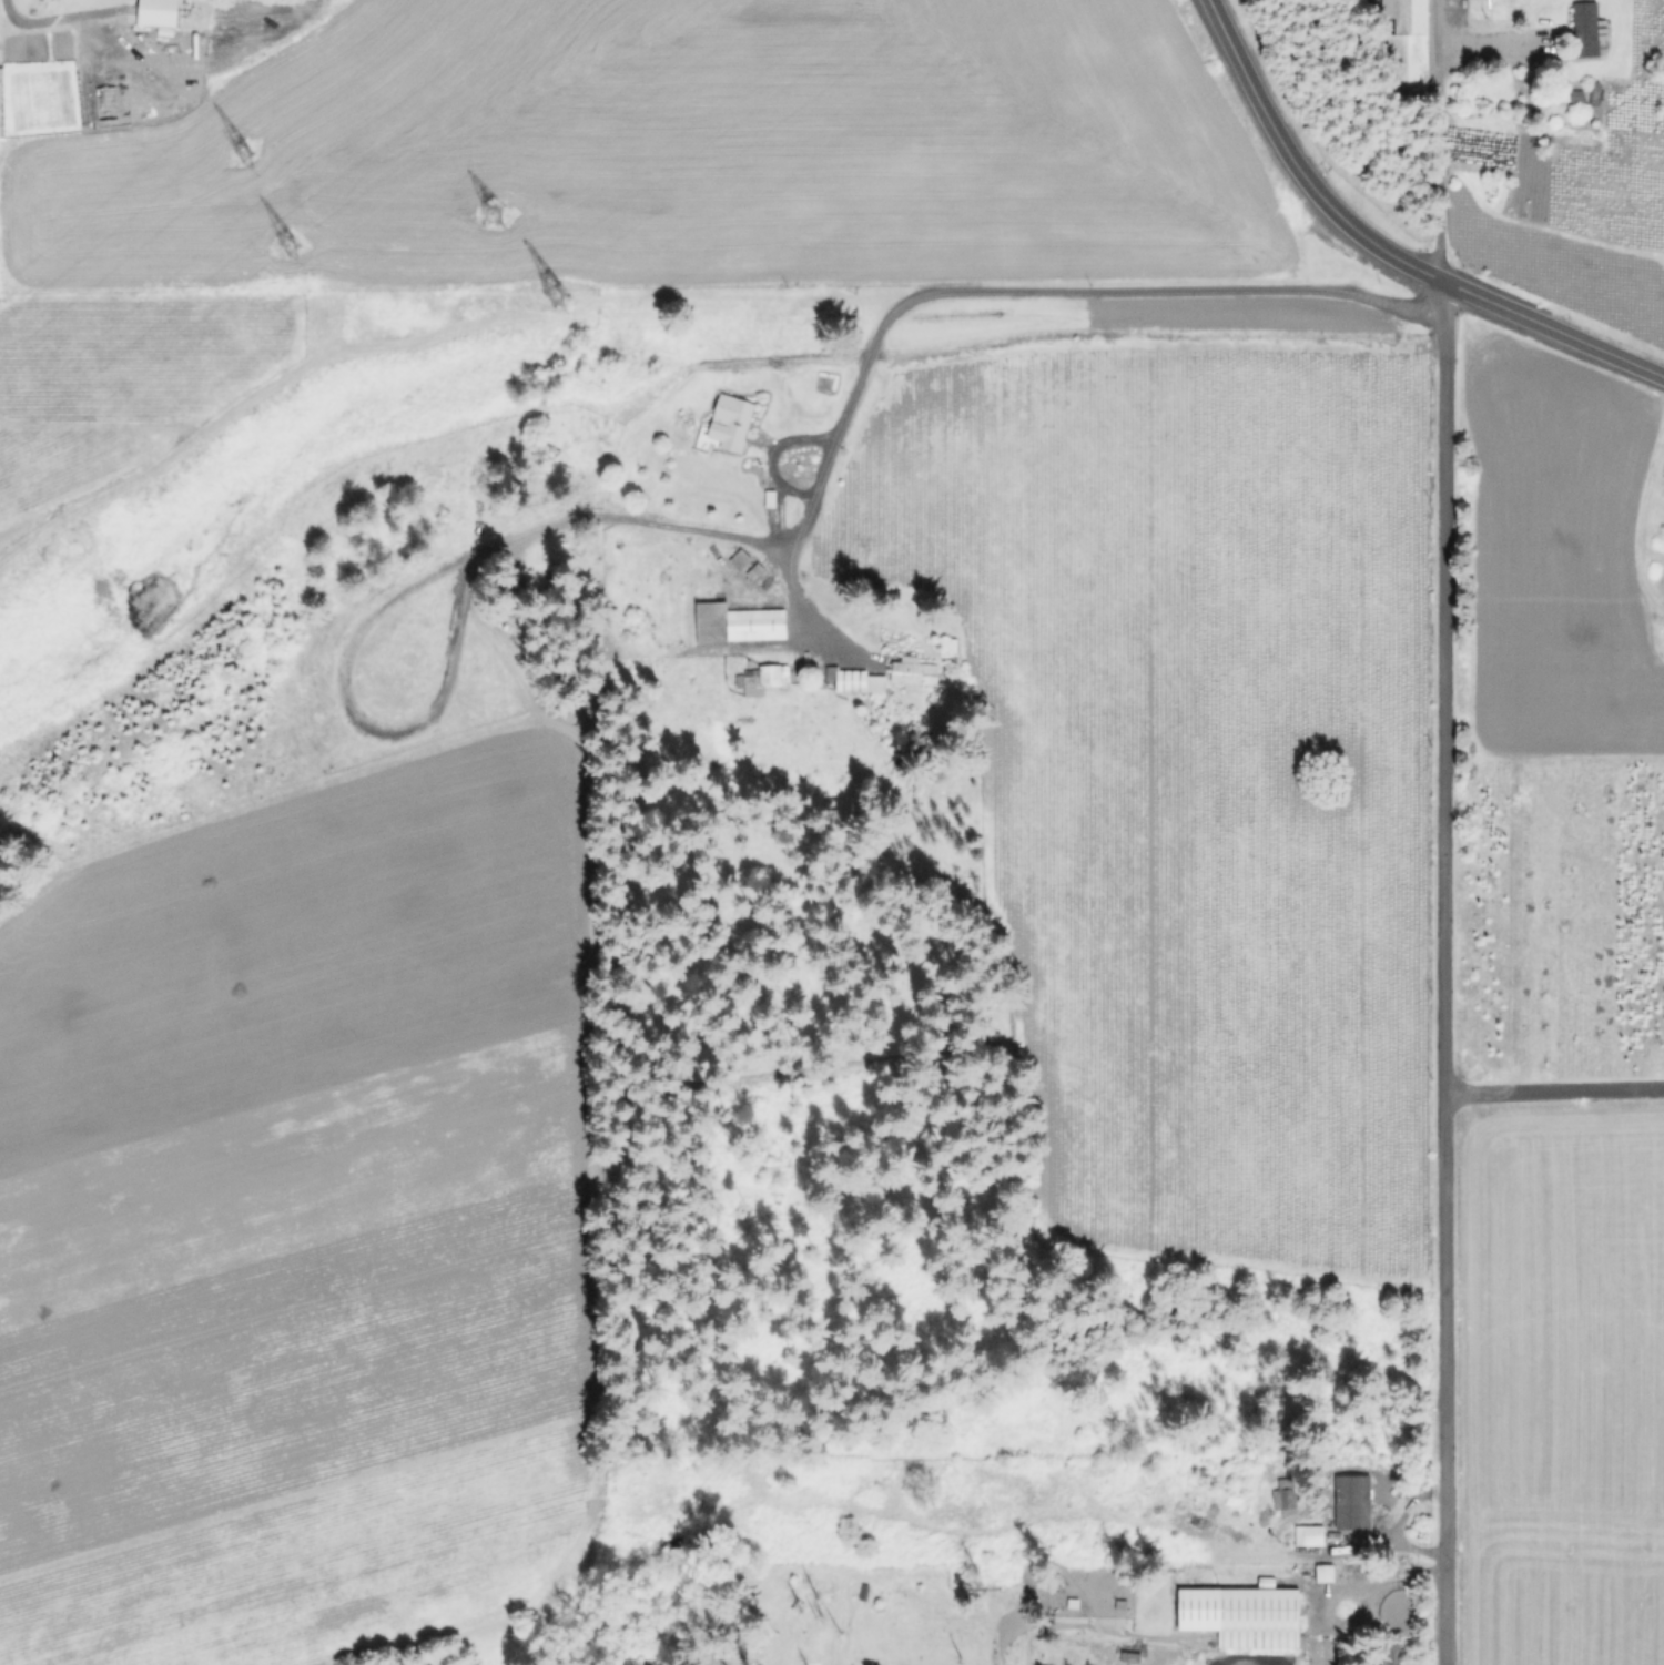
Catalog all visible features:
building: (1489, 6)
building: (156, 10)
road: (12, 16)
building: (1586, 24)
road: (1493, 34)
building: (1408, 42)
road: (1433, 136)
power tower: (235, 148)
power tower: (484, 214)
power tower: (282, 244)
road: (1383, 247)
road: (1099, 290)
power tower: (548, 295)
building: (731, 422)
road: (771, 455)
building: (774, 498)
road: (785, 540)
building: (740, 558)
building: (755, 570)
building: (739, 623)
building: (951, 646)
building: (914, 671)
building: (758, 679)
building: (855, 680)
road: (1441, 973)
road: (1552, 1093)
crop: (293, 1149)
crop: (1552, 1389)
building: (1287, 1494)
building: (1357, 1505)
building: (1310, 1535)
building: (1328, 1572)
road: (1386, 1581)
building: (1244, 1615)
building: (1389, 1654)
building: (1130, 1657)

